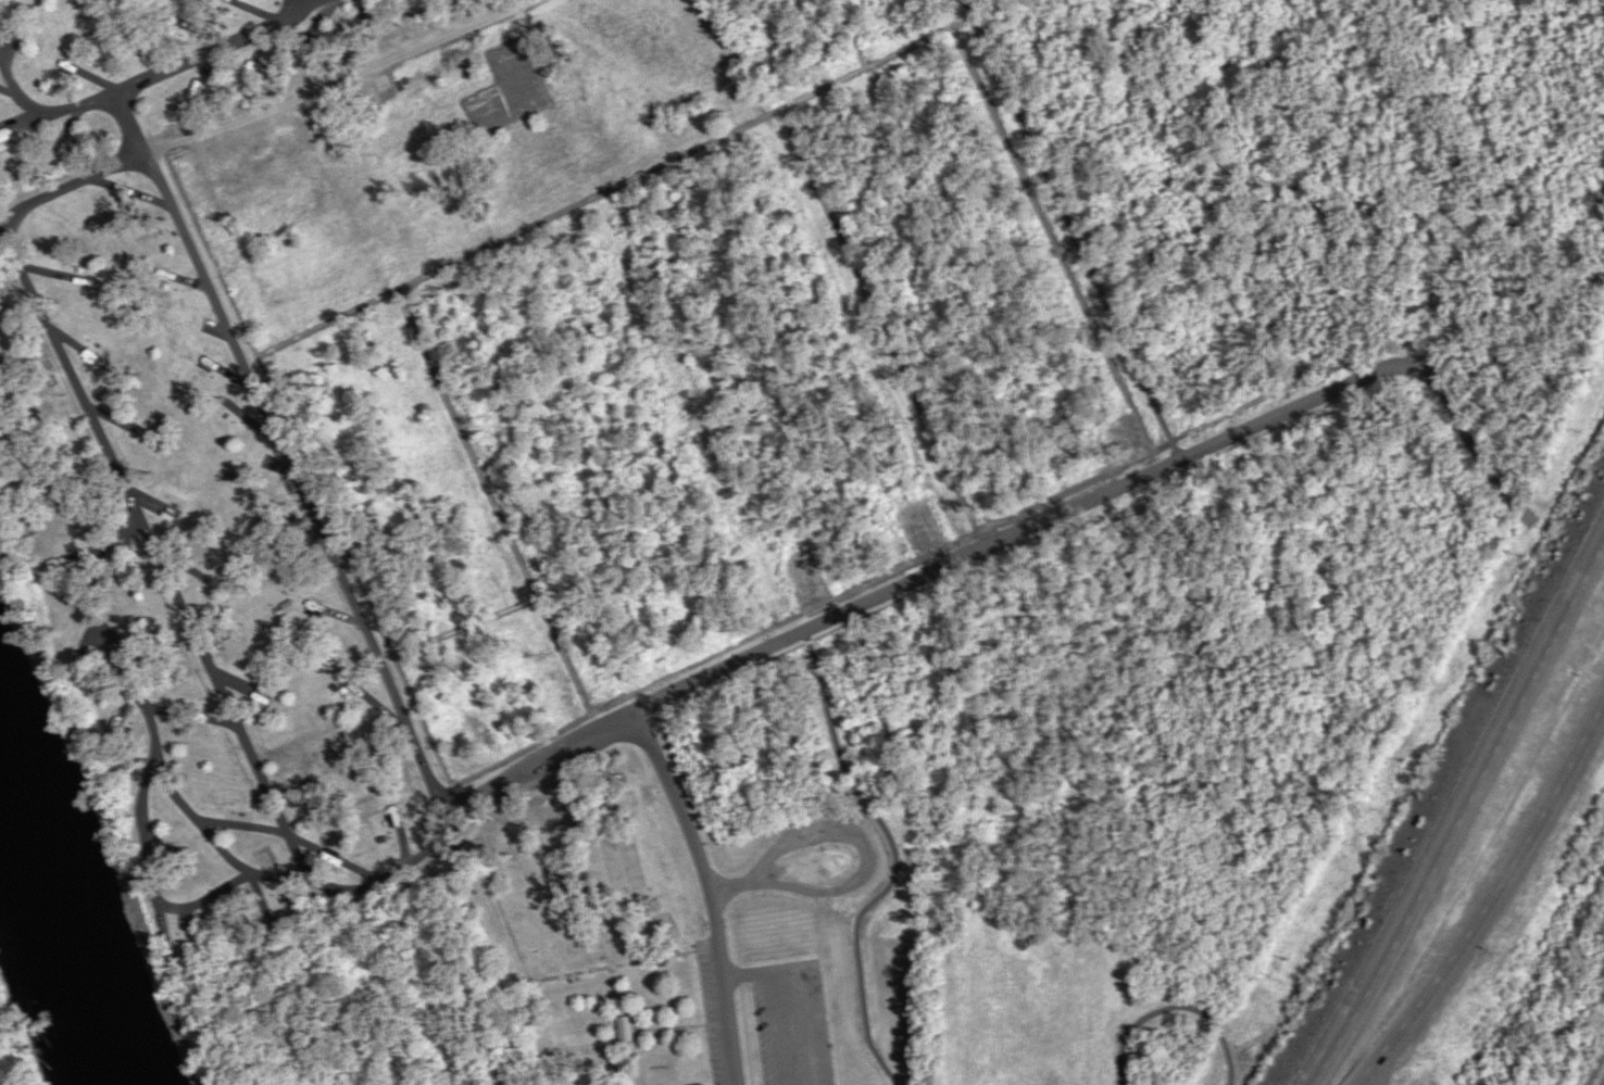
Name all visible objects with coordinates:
road: (146, 73)
park: (54, 417)
road: (1010, 537)
building: (318, 610)
road: (152, 731)
road: (1464, 821)
river: (64, 879)
road: (704, 891)
road: (356, 893)
road: (1488, 897)
road: (1519, 928)
building: (625, 1030)
park: (652, 1056)

